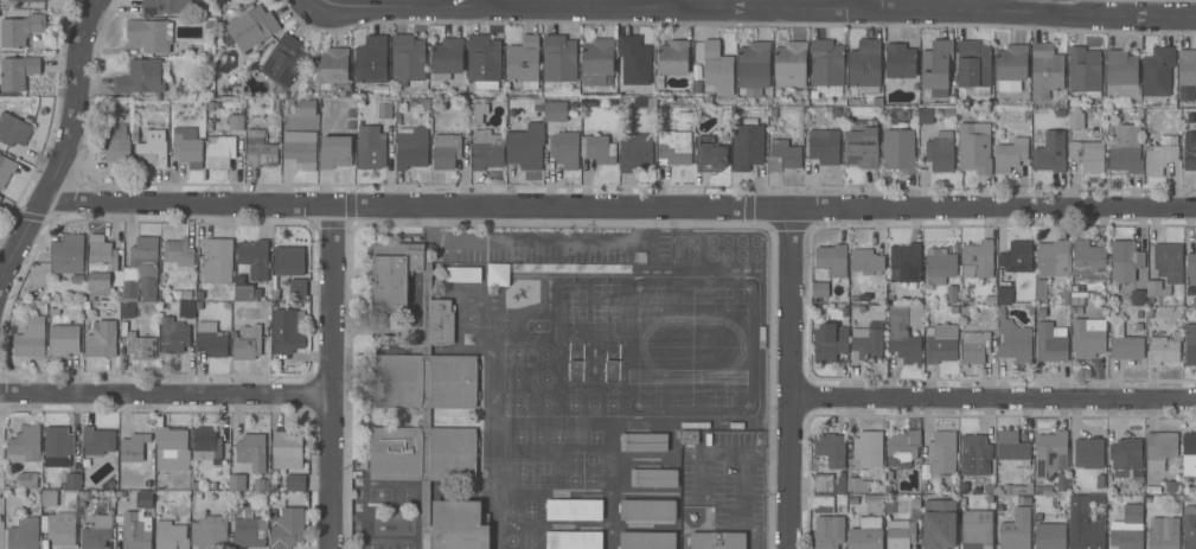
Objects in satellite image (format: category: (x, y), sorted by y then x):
building: (33, 0)
road: (491, 2)
road: (676, 4)
road: (862, 5)
building: (162, 6)
road: (1049, 7)
road: (759, 8)
building: (19, 27)
building: (251, 27)
building: (151, 34)
building: (407, 58)
building: (482, 58)
building: (558, 58)
building: (446, 59)
building: (283, 60)
building: (371, 60)
building: (523, 60)
building: (634, 60)
building: (671, 60)
building: (596, 62)
building: (900, 62)
building: (826, 63)
building: (789, 65)
building: (865, 66)
building: (974, 66)
building: (717, 68)
building: (754, 68)
building: (935, 68)
building: (1011, 68)
building: (333, 70)
building: (1045, 70)
building: (1083, 71)
building: (1157, 71)
building: (17, 72)
building: (1123, 72)
building: (697, 74)
building: (1187, 75)
building: (140, 78)
building: (697, 87)
building: (797, 95)
building: (275, 108)
building: (306, 108)
building: (384, 110)
building: (559, 110)
building: (773, 113)
building: (949, 113)
building: (479, 114)
building: (837, 114)
building: (925, 115)
building: (684, 116)
building: (1075, 120)
building: (237, 122)
building: (13, 129)
road: (64, 145)
building: (114, 145)
building: (260, 146)
building: (747, 146)
building: (824, 146)
building: (187, 147)
building: (411, 147)
building: (673, 147)
building: (974, 147)
building: (300, 148)
building: (370, 148)
building: (525, 148)
building: (597, 148)
building: (862, 148)
building: (152, 149)
building: (446, 149)
building: (487, 149)
building: (1126, 149)
building: (898, 151)
building: (1189, 151)
building: (219, 152)
building: (335, 152)
building: (635, 152)
building: (940, 152)
building: (1050, 152)
building: (565, 154)
building: (1010, 154)
building: (1160, 154)
building: (710, 155)
building: (782, 155)
building: (1089, 155)
building: (6, 170)
building: (0, 197)
road: (618, 205)
road: (535, 242)
building: (178, 253)
building: (66, 254)
building: (1016, 257)
building: (254, 258)
building: (1053, 258)
building: (217, 260)
building: (288, 260)
building: (832, 260)
building: (977, 260)
building: (1088, 260)
building: (1125, 260)
building: (866, 261)
building: (1168, 262)
building: (904, 263)
building: (939, 266)
building: (102, 267)
building: (1190, 269)
building: (142, 270)
building: (462, 274)
building: (498, 275)
building: (77, 280)
building: (275, 288)
building: (298, 288)
building: (1156, 288)
building: (242, 289)
building: (819, 289)
building: (1040, 289)
building: (952, 294)
building: (186, 295)
building: (200, 295)
building: (1004, 295)
building: (990, 301)
building: (199, 306)
building: (126, 309)
building: (954, 309)
building: (1030, 309)
building: (965, 311)
building: (1041, 313)
building: (1138, 315)
building: (1138, 327)
building: (123, 330)
building: (175, 330)
building: (63, 332)
building: (286, 332)
building: (902, 337)
building: (1088, 337)
building: (31, 338)
building: (211, 339)
building: (101, 340)
building: (1013, 341)
building: (247, 343)
building: (829, 343)
building: (941, 343)
building: (1050, 343)
building: (1125, 344)
building: (1190, 344)
building: (865, 345)
building: (141, 346)
building: (977, 346)
building: (1164, 349)
road: (331, 377)
road: (789, 378)
road: (165, 395)
road: (992, 397)
building: (424, 402)
building: (695, 426)
building: (736, 426)
building: (689, 436)
building: (59, 442)
building: (97, 442)
building: (644, 442)
building: (205, 443)
building: (25, 445)
building: (136, 445)
building: (171, 447)
building: (830, 448)
building: (866, 448)
building: (901, 448)
building: (1012, 448)
building: (287, 449)
building: (1159, 449)
building: (1189, 449)
building: (251, 451)
building: (1088, 453)
building: (941, 454)
building: (974, 454)
building: (1050, 454)
building: (1125, 457)
building: (1138, 477)
building: (653, 478)
building: (27, 480)
building: (69, 480)
building: (295, 481)
building: (1062, 481)
building: (1099, 481)
building: (237, 483)
building: (821, 483)
building: (858, 485)
building: (194, 486)
building: (260, 486)
building: (274, 486)
building: (1023, 489)
building: (964, 490)
building: (990, 490)
building: (1006, 490)
building: (49, 497)
building: (145, 499)
building: (874, 499)
building: (823, 504)
building: (914, 509)
building: (32, 510)
building: (574, 510)
building: (647, 510)
building: (1085, 523)
building: (939, 524)
building: (1189, 526)
building: (287, 528)
building: (1127, 528)
building: (62, 529)
building: (249, 529)
building: (976, 529)
building: (1016, 530)
building: (135, 531)
building: (172, 531)
building: (209, 532)
building: (827, 532)
building: (1163, 532)
building: (24, 534)
building: (96, 534)
building: (865, 534)
building: (900, 534)
building: (1050, 536)
building: (574, 540)
building: (647, 541)
building: (717, 541)

